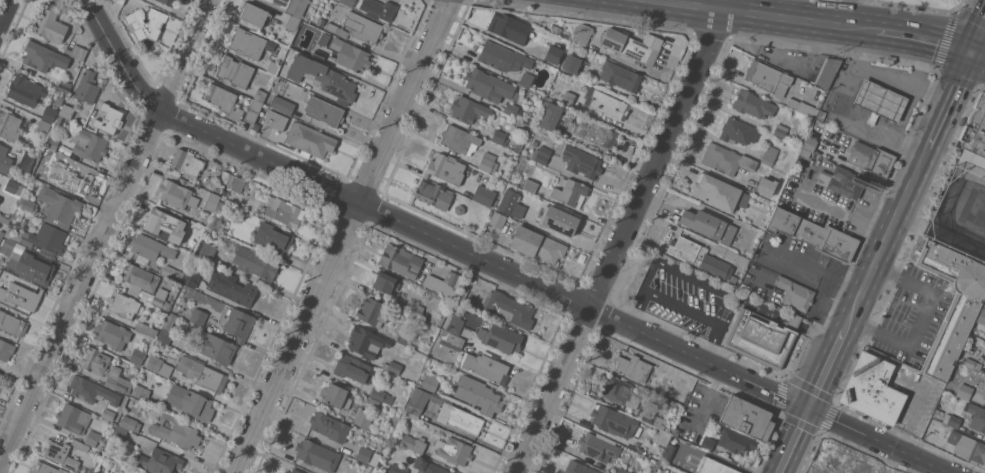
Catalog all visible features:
building: (119, 1)
building: (168, 2)
building: (348, 2)
building: (280, 3)
building: (379, 9)
road: (847, 13)
building: (254, 14)
road: (7, 15)
road: (758, 16)
building: (292, 22)
building: (136, 23)
building: (156, 23)
building: (50, 26)
building: (331, 27)
building: (363, 27)
building: (509, 27)
building: (565, 29)
road: (902, 32)
building: (583, 34)
road: (980, 42)
building: (250, 43)
road: (951, 45)
building: (630, 47)
building: (320, 51)
building: (556, 51)
building: (77, 52)
traffic signals: (975, 53)
building: (495, 55)
road: (980, 55)
building: (43, 57)
building: (353, 57)
road: (921, 60)
building: (527, 61)
building: (571, 63)
building: (273, 67)
building: (234, 71)
building: (827, 72)
road: (885, 73)
road: (965, 75)
building: (621, 76)
building: (322, 77)
building: (768, 77)
building: (524, 79)
building: (65, 86)
building: (489, 86)
building: (87, 87)
road: (935, 89)
building: (25, 90)
building: (260, 95)
building: (568, 97)
building: (222, 99)
building: (58, 100)
building: (879, 102)
gas station: (879, 102)
building: (282, 104)
building: (608, 104)
building: (753, 104)
building: (803, 107)
building: (468, 109)
building: (512, 109)
building: (68, 111)
building: (253, 111)
building: (324, 111)
road: (906, 112)
building: (49, 113)
building: (821, 114)
building: (550, 116)
building: (267, 117)
road: (838, 117)
building: (109, 118)
building: (58, 122)
building: (9, 125)
building: (43, 126)
road: (940, 128)
building: (775, 129)
building: (737, 131)
building: (596, 132)
building: (40, 135)
building: (500, 137)
building: (309, 140)
building: (459, 140)
building: (53, 143)
building: (535, 143)
building: (808, 143)
building: (89, 145)
building: (973, 145)
building: (804, 152)
building: (541, 154)
building: (769, 155)
building: (871, 158)
building: (5, 159)
building: (726, 159)
building: (27, 160)
building: (581, 161)
building: (186, 162)
building: (488, 162)
building: (446, 168)
building: (42, 169)
building: (762, 170)
building: (77, 175)
building: (776, 175)
building: (227, 178)
building: (842, 181)
building: (238, 184)
building: (530, 185)
building: (756, 185)
building: (764, 186)
building: (13, 187)
building: (570, 192)
building: (719, 192)
building: (176, 194)
building: (433, 194)
building: (484, 195)
building: (0, 198)
building: (212, 201)
building: (511, 204)
road: (831, 204)
building: (27, 205)
building: (59, 207)
building: (460, 210)
building: (284, 212)
building: (4, 219)
building: (497, 219)
building: (559, 220)
building: (703, 223)
building: (160, 224)
building: (219, 224)
building: (199, 228)
road: (98, 230)
building: (8, 233)
building: (813, 234)
building: (1, 235)
road: (341, 235)
road: (623, 236)
building: (16, 237)
building: (47, 237)
building: (273, 237)
road: (887, 243)
building: (537, 245)
building: (10, 246)
building: (150, 247)
building: (207, 252)
building: (731, 255)
road: (787, 255)
building: (700, 257)
building: (401, 261)
building: (256, 264)
road: (669, 264)
road: (497, 266)
building: (0, 269)
building: (34, 269)
building: (172, 273)
building: (139, 277)
building: (191, 279)
building: (385, 282)
building: (443, 283)
road: (848, 284)
building: (232, 287)
building: (135, 291)
building: (795, 293)
building: (20, 296)
building: (468, 297)
building: (161, 299)
building: (983, 301)
building: (952, 304)
building: (124, 305)
building: (509, 308)
building: (416, 309)
building: (373, 312)
building: (198, 316)
road: (922, 319)
road: (793, 321)
building: (455, 323)
building: (12, 324)
building: (238, 324)
building: (145, 328)
building: (166, 329)
building: (113, 334)
road: (821, 334)
building: (763, 337)
building: (403, 338)
building: (502, 338)
building: (366, 341)
building: (452, 341)
road: (709, 341)
building: (215, 347)
building: (6, 349)
building: (137, 355)
building: (973, 364)
building: (159, 365)
building: (486, 366)
building: (392, 367)
building: (633, 367)
building: (352, 368)
road: (831, 368)
building: (96, 369)
building: (201, 373)
building: (0, 374)
building: (430, 382)
building: (875, 385)
building: (941, 385)
building: (964, 390)
building: (141, 392)
building: (620, 392)
building: (95, 394)
building: (334, 394)
building: (381, 395)
building: (478, 395)
road: (707, 397)
building: (416, 401)
building: (190, 402)
traffic signals: (813, 409)
building: (976, 416)
building: (73, 417)
building: (747, 417)
building: (363, 418)
building: (460, 418)
building: (613, 421)
building: (954, 421)
building: (660, 422)
building: (130, 423)
building: (329, 426)
building: (675, 431)
building: (176, 432)
building: (119, 433)
building: (93, 438)
building: (736, 441)
road: (798, 441)
building: (414, 443)
building: (708, 443)
building: (80, 445)
building: (967, 446)
building: (598, 447)
building: (455, 452)
building: (317, 454)
building: (669, 454)
building: (61, 455)
building: (369, 455)
building: (841, 458)
building: (161, 461)
road: (891, 461)
building: (427, 466)
building: (713, 466)
building: (46, 468)
building: (579, 468)
building: (397, 469)
building: (296, 471)
building: (622, 471)
building: (98, 472)
building: (141, 472)
building: (287, 472)

